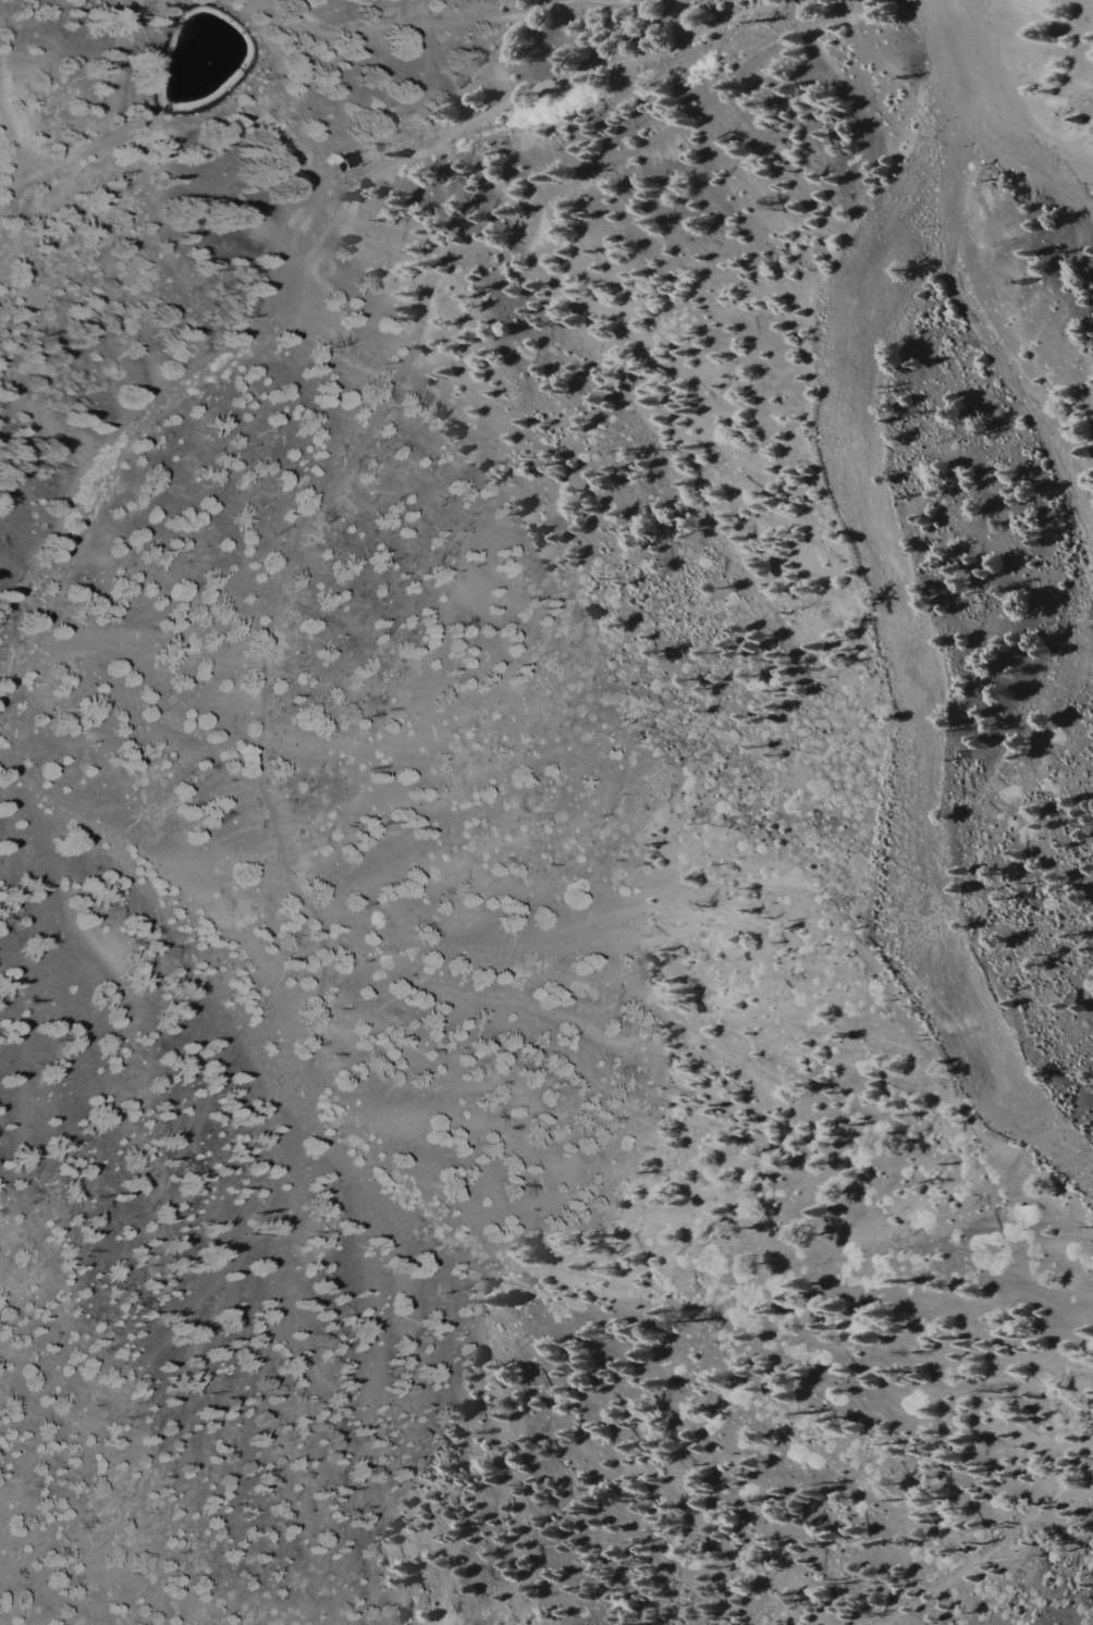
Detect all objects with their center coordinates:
aerialway pylon: (908, 85)
aerialway pylon: (1021, 282)
ski resort: (649, 684)

